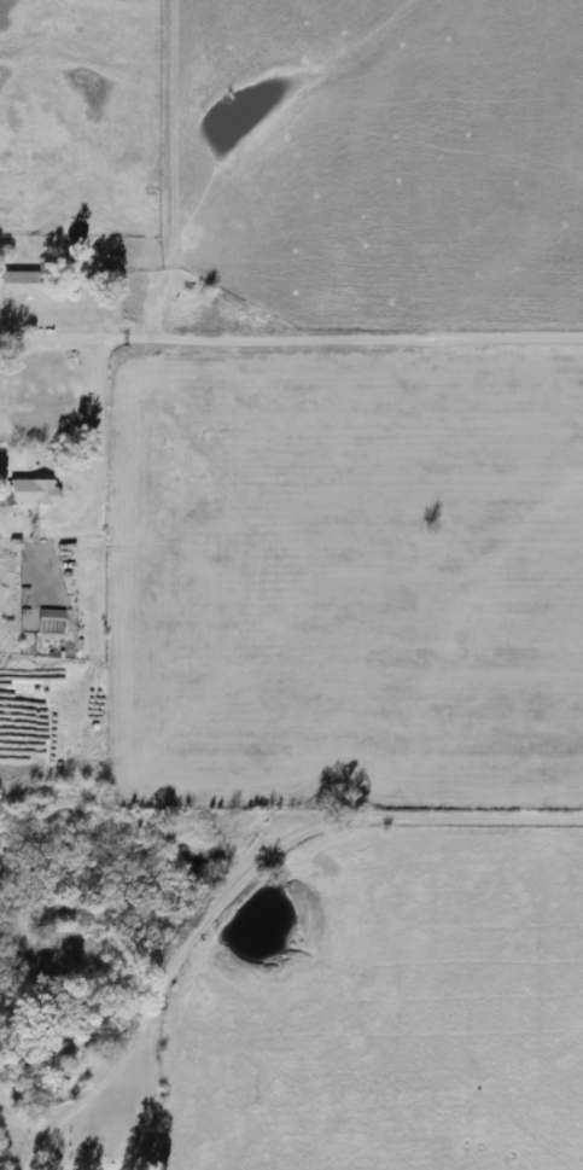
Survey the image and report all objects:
building: (17, 286)
road: (344, 345)
building: (27, 493)
building: (113, 581)
road: (256, 875)

